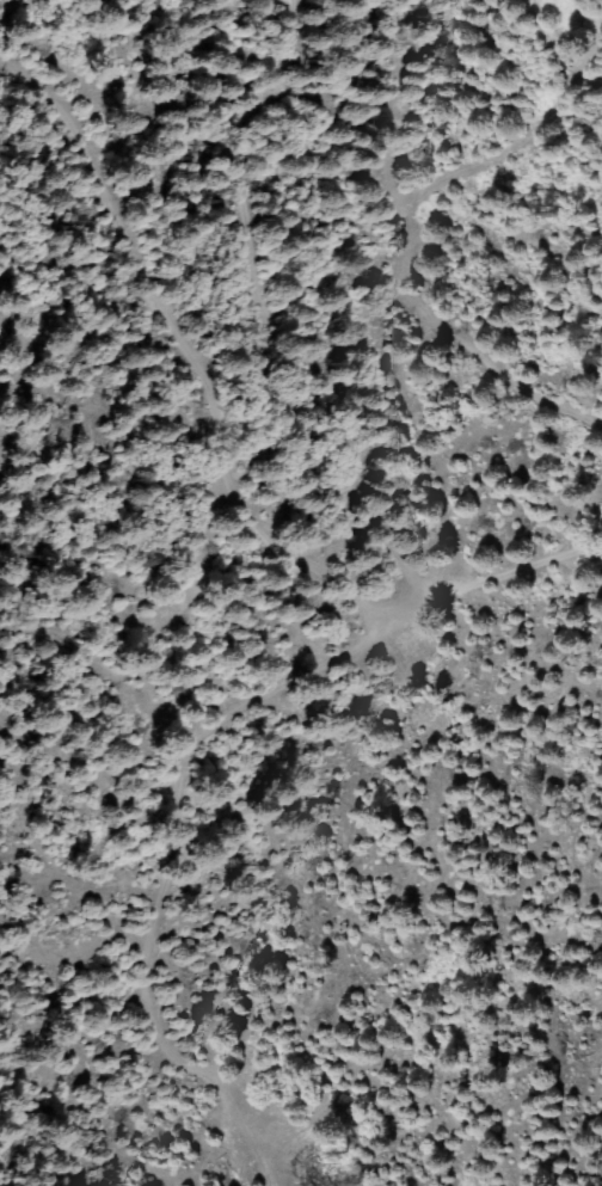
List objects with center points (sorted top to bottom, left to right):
road: (340, 382)

